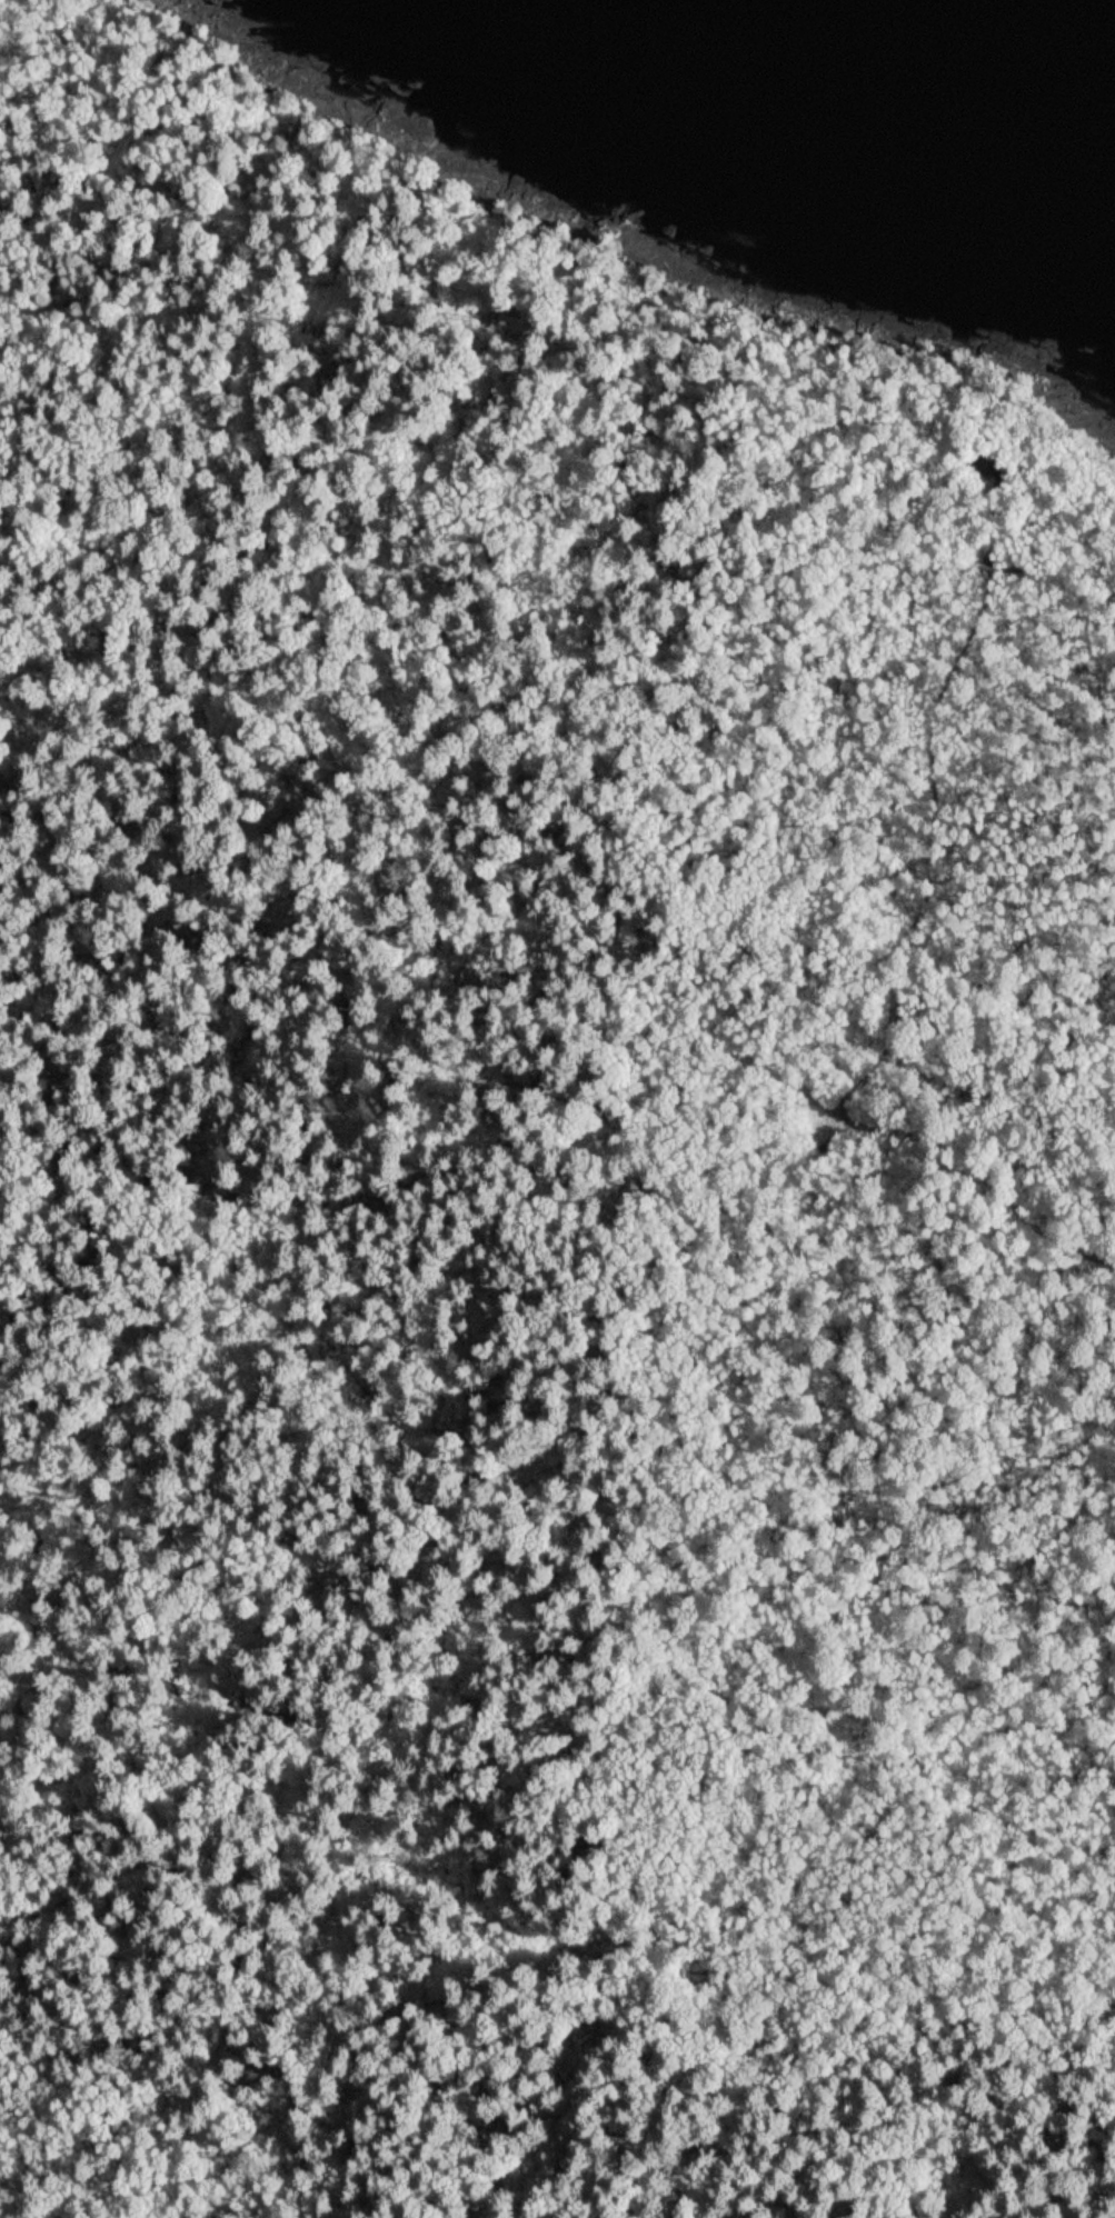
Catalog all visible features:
building: (995, 477)

